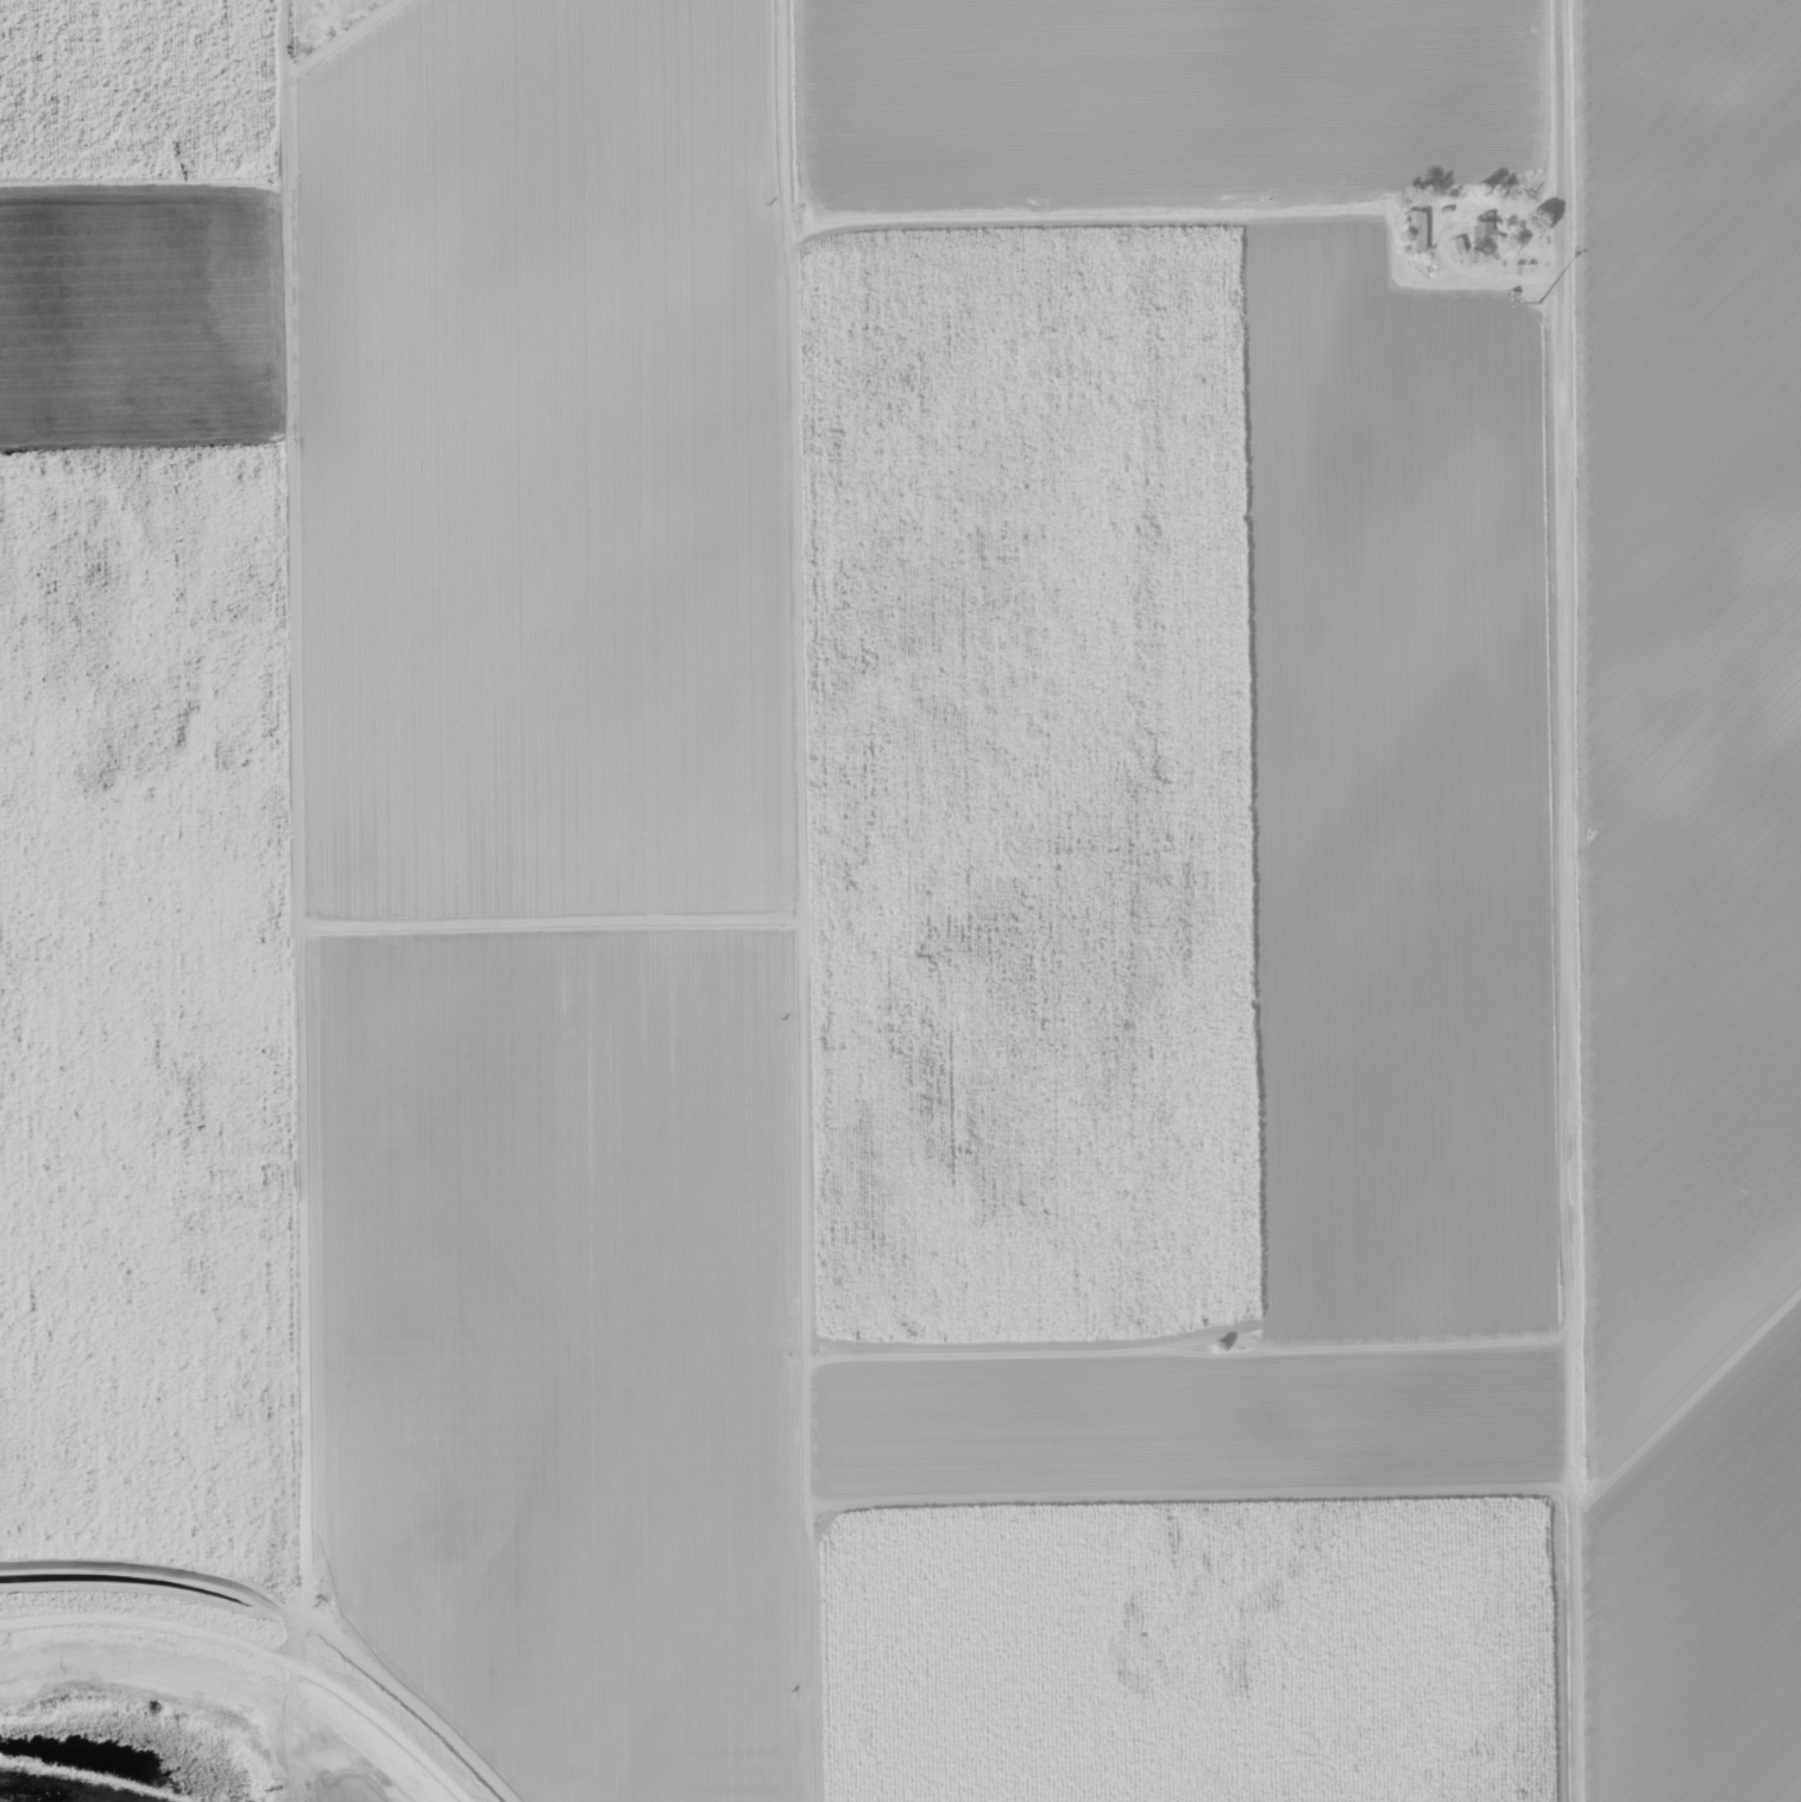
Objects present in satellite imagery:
road: (1557, 141)
building: (1418, 232)
building: (1488, 239)
building: (1459, 247)
building: (1757, 411)
building: (1608, 907)
road: (251, 1655)

